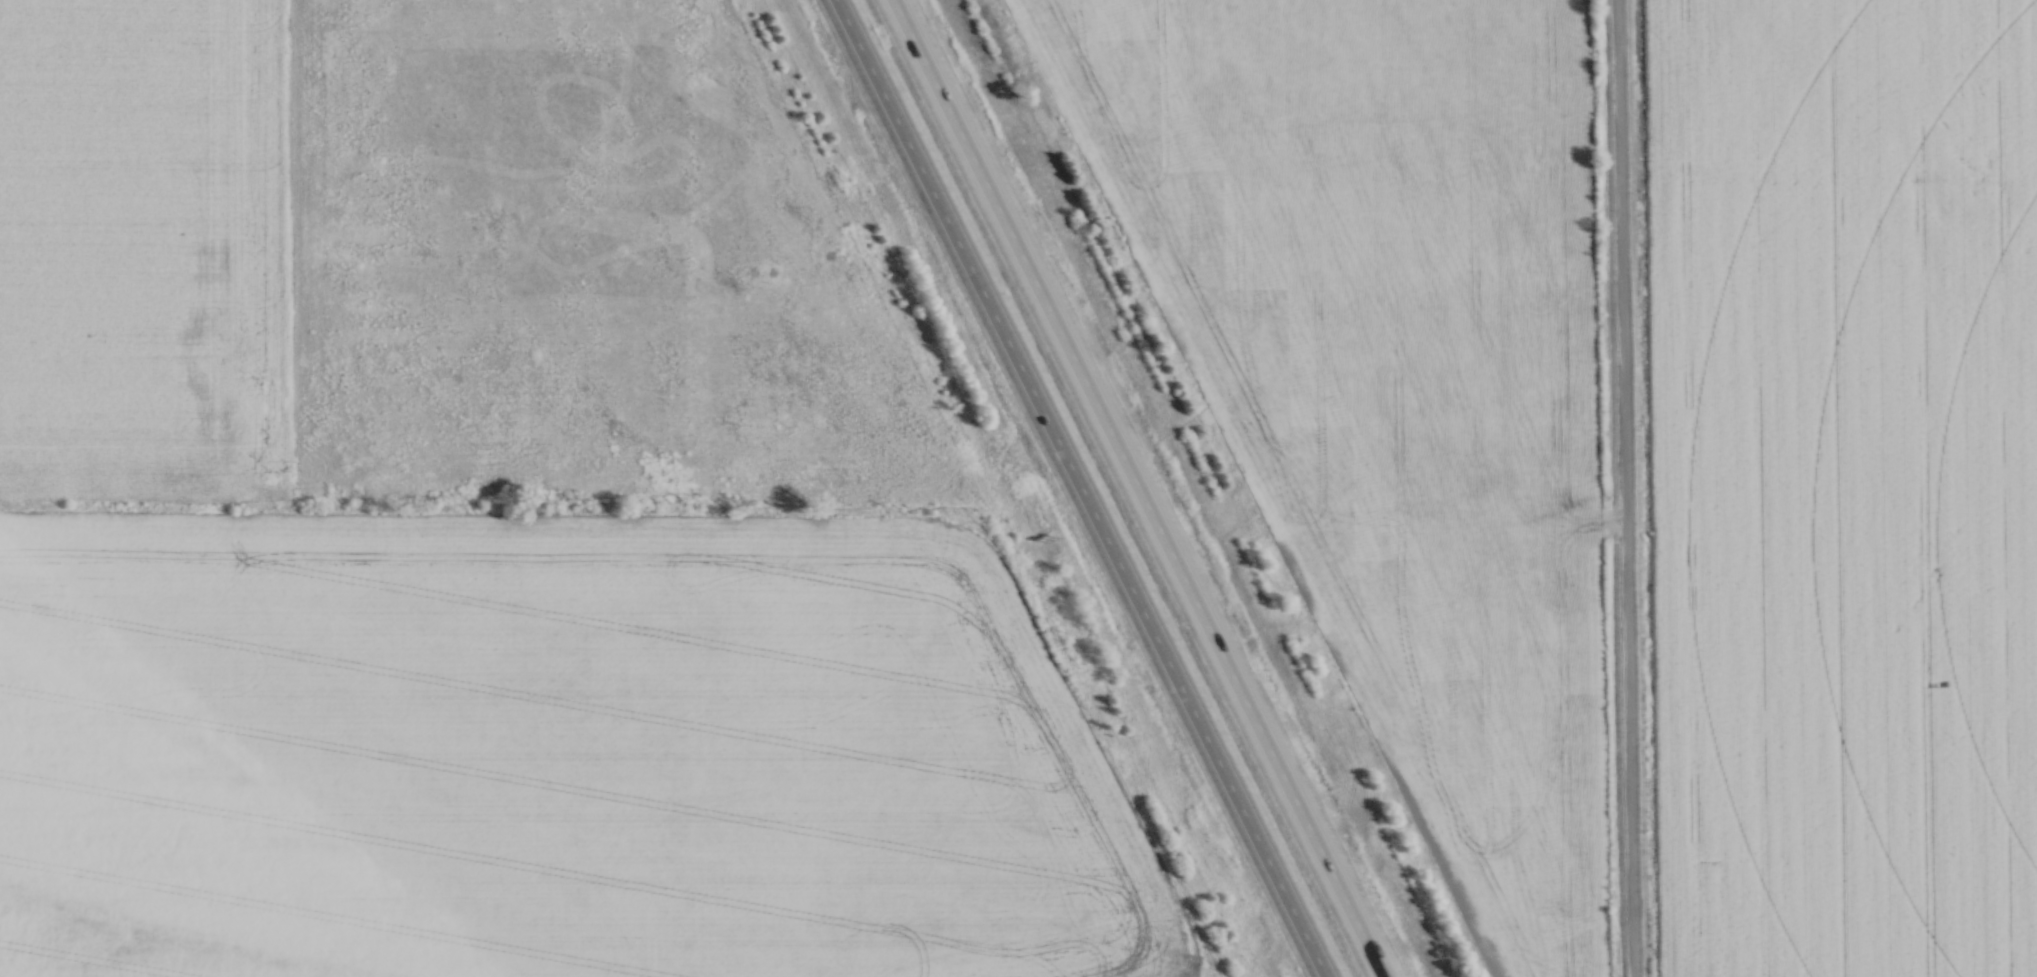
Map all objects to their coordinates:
road: (1076, 488)
road: (1626, 488)
road: (1139, 489)

